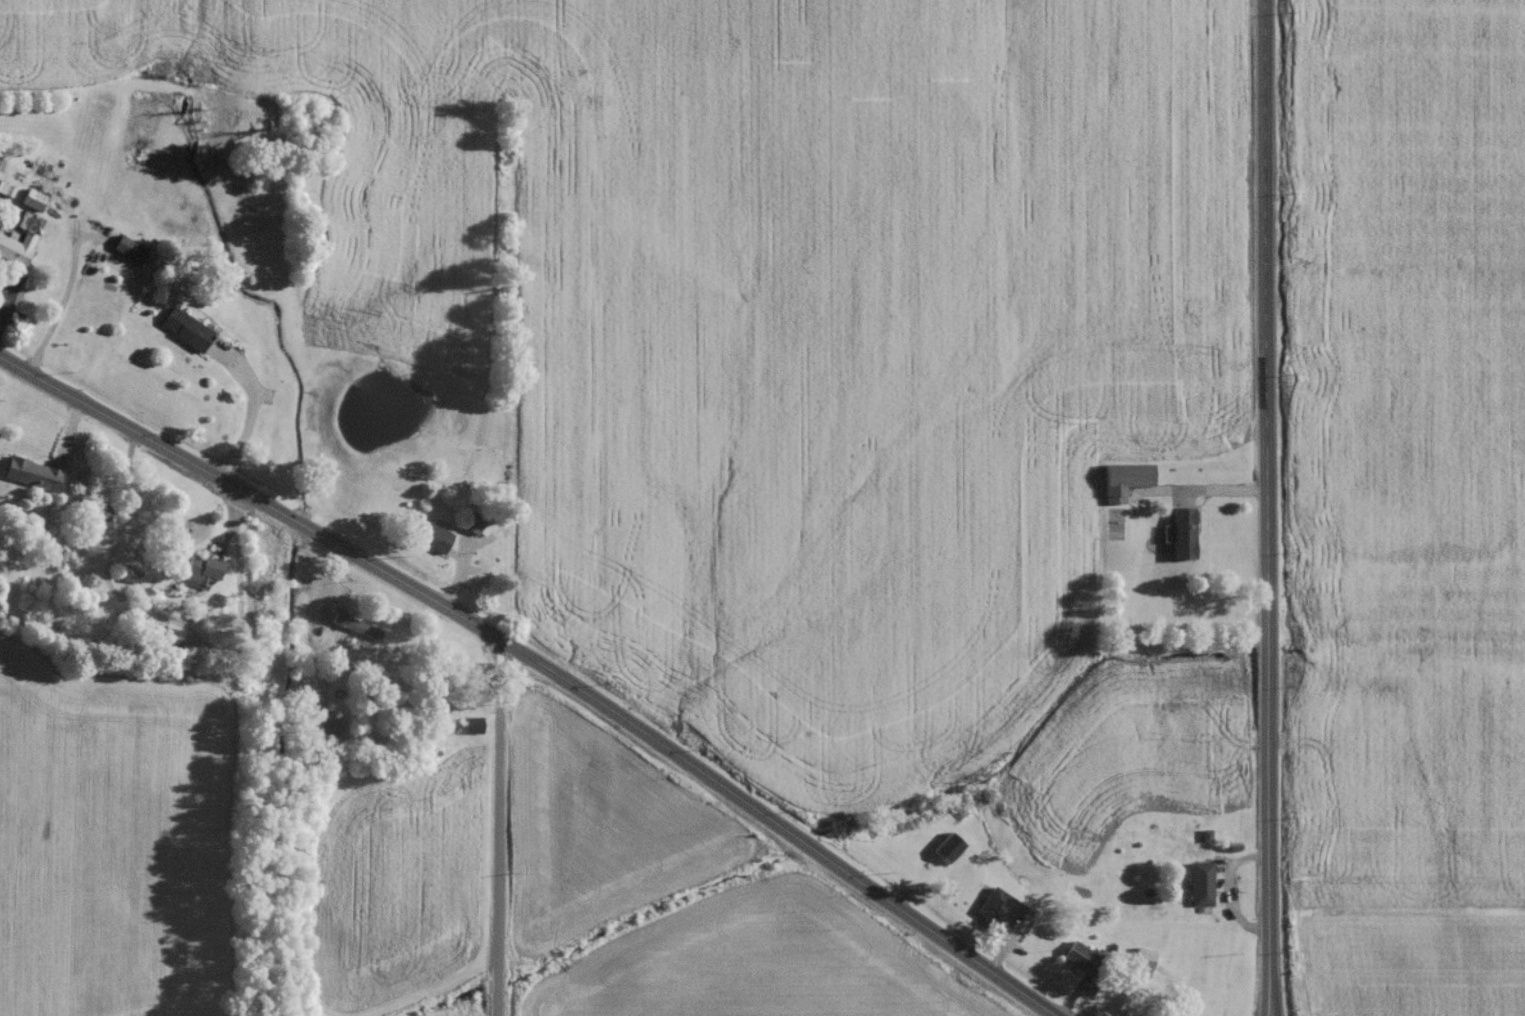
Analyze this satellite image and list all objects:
building: (29, 204)
building: (14, 253)
building: (125, 253)
building: (181, 333)
road: (253, 412)
building: (29, 479)
building: (1119, 484)
road: (1266, 508)
building: (470, 527)
building: (1178, 538)
building: (426, 541)
road: (116, 546)
building: (58, 563)
building: (196, 576)
building: (353, 631)
road: (540, 663)
building: (320, 730)
building: (468, 730)
road: (506, 829)
building: (944, 853)
building: (1197, 888)
building: (995, 912)
building: (1140, 964)

